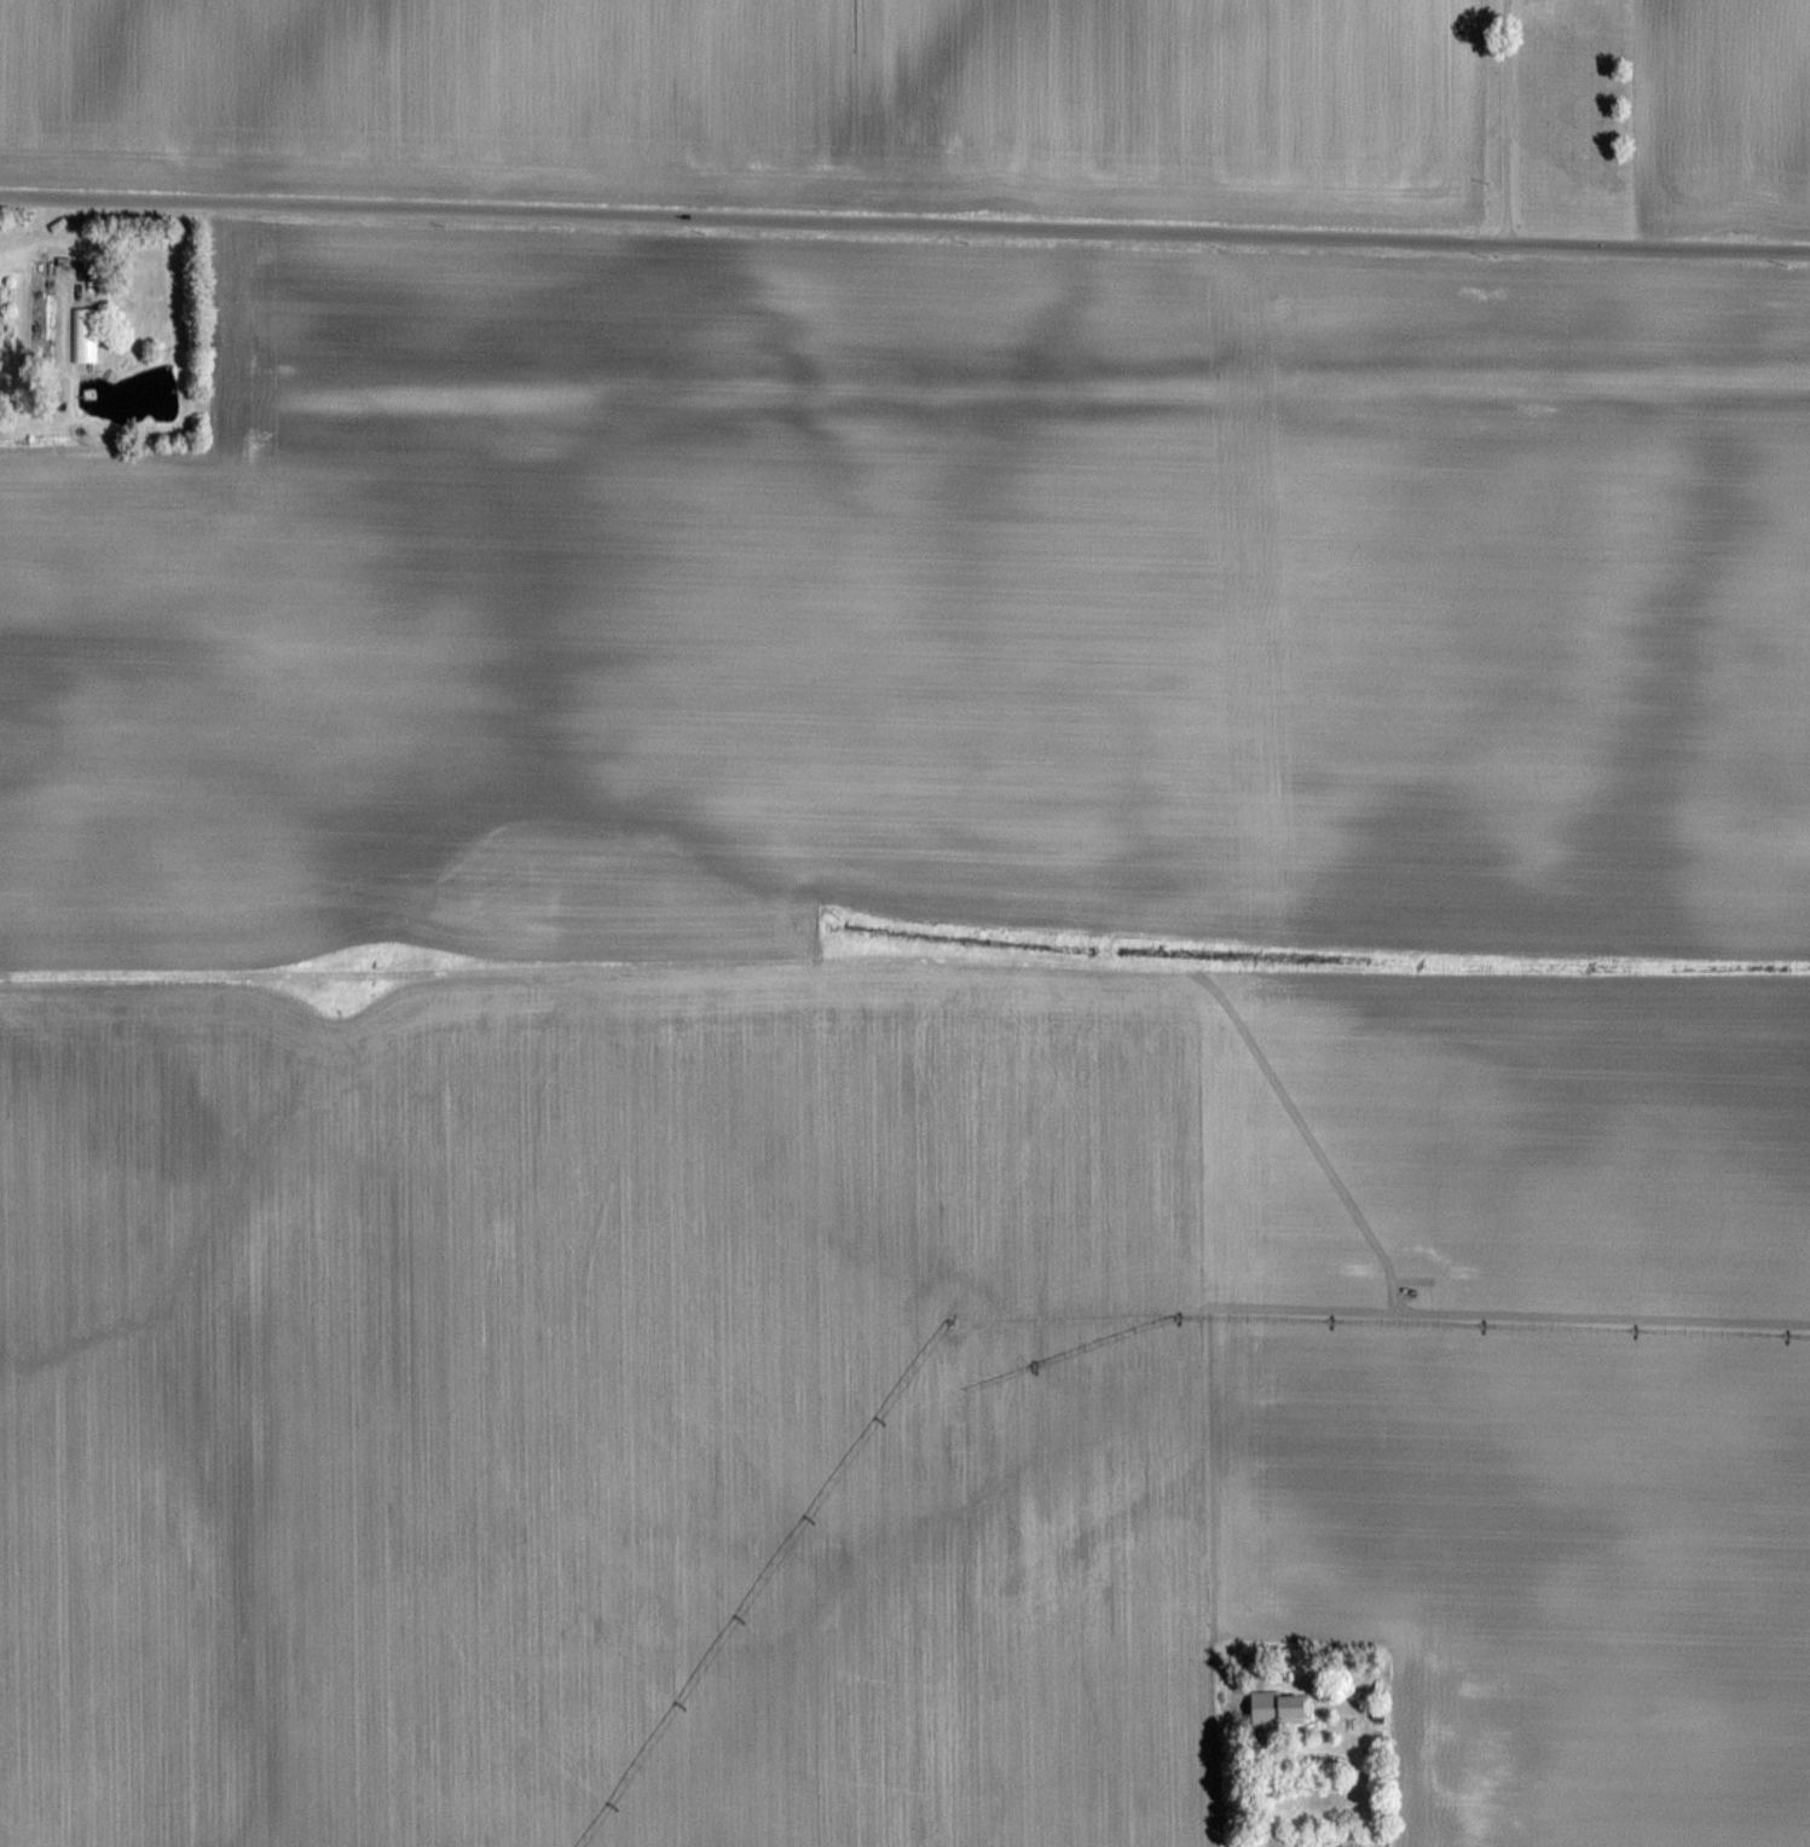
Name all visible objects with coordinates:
crop: (762, 98)
crop: (1723, 109)
road: (1504, 127)
road: (904, 225)
building: (1284, 1708)
road: (1306, 1760)

